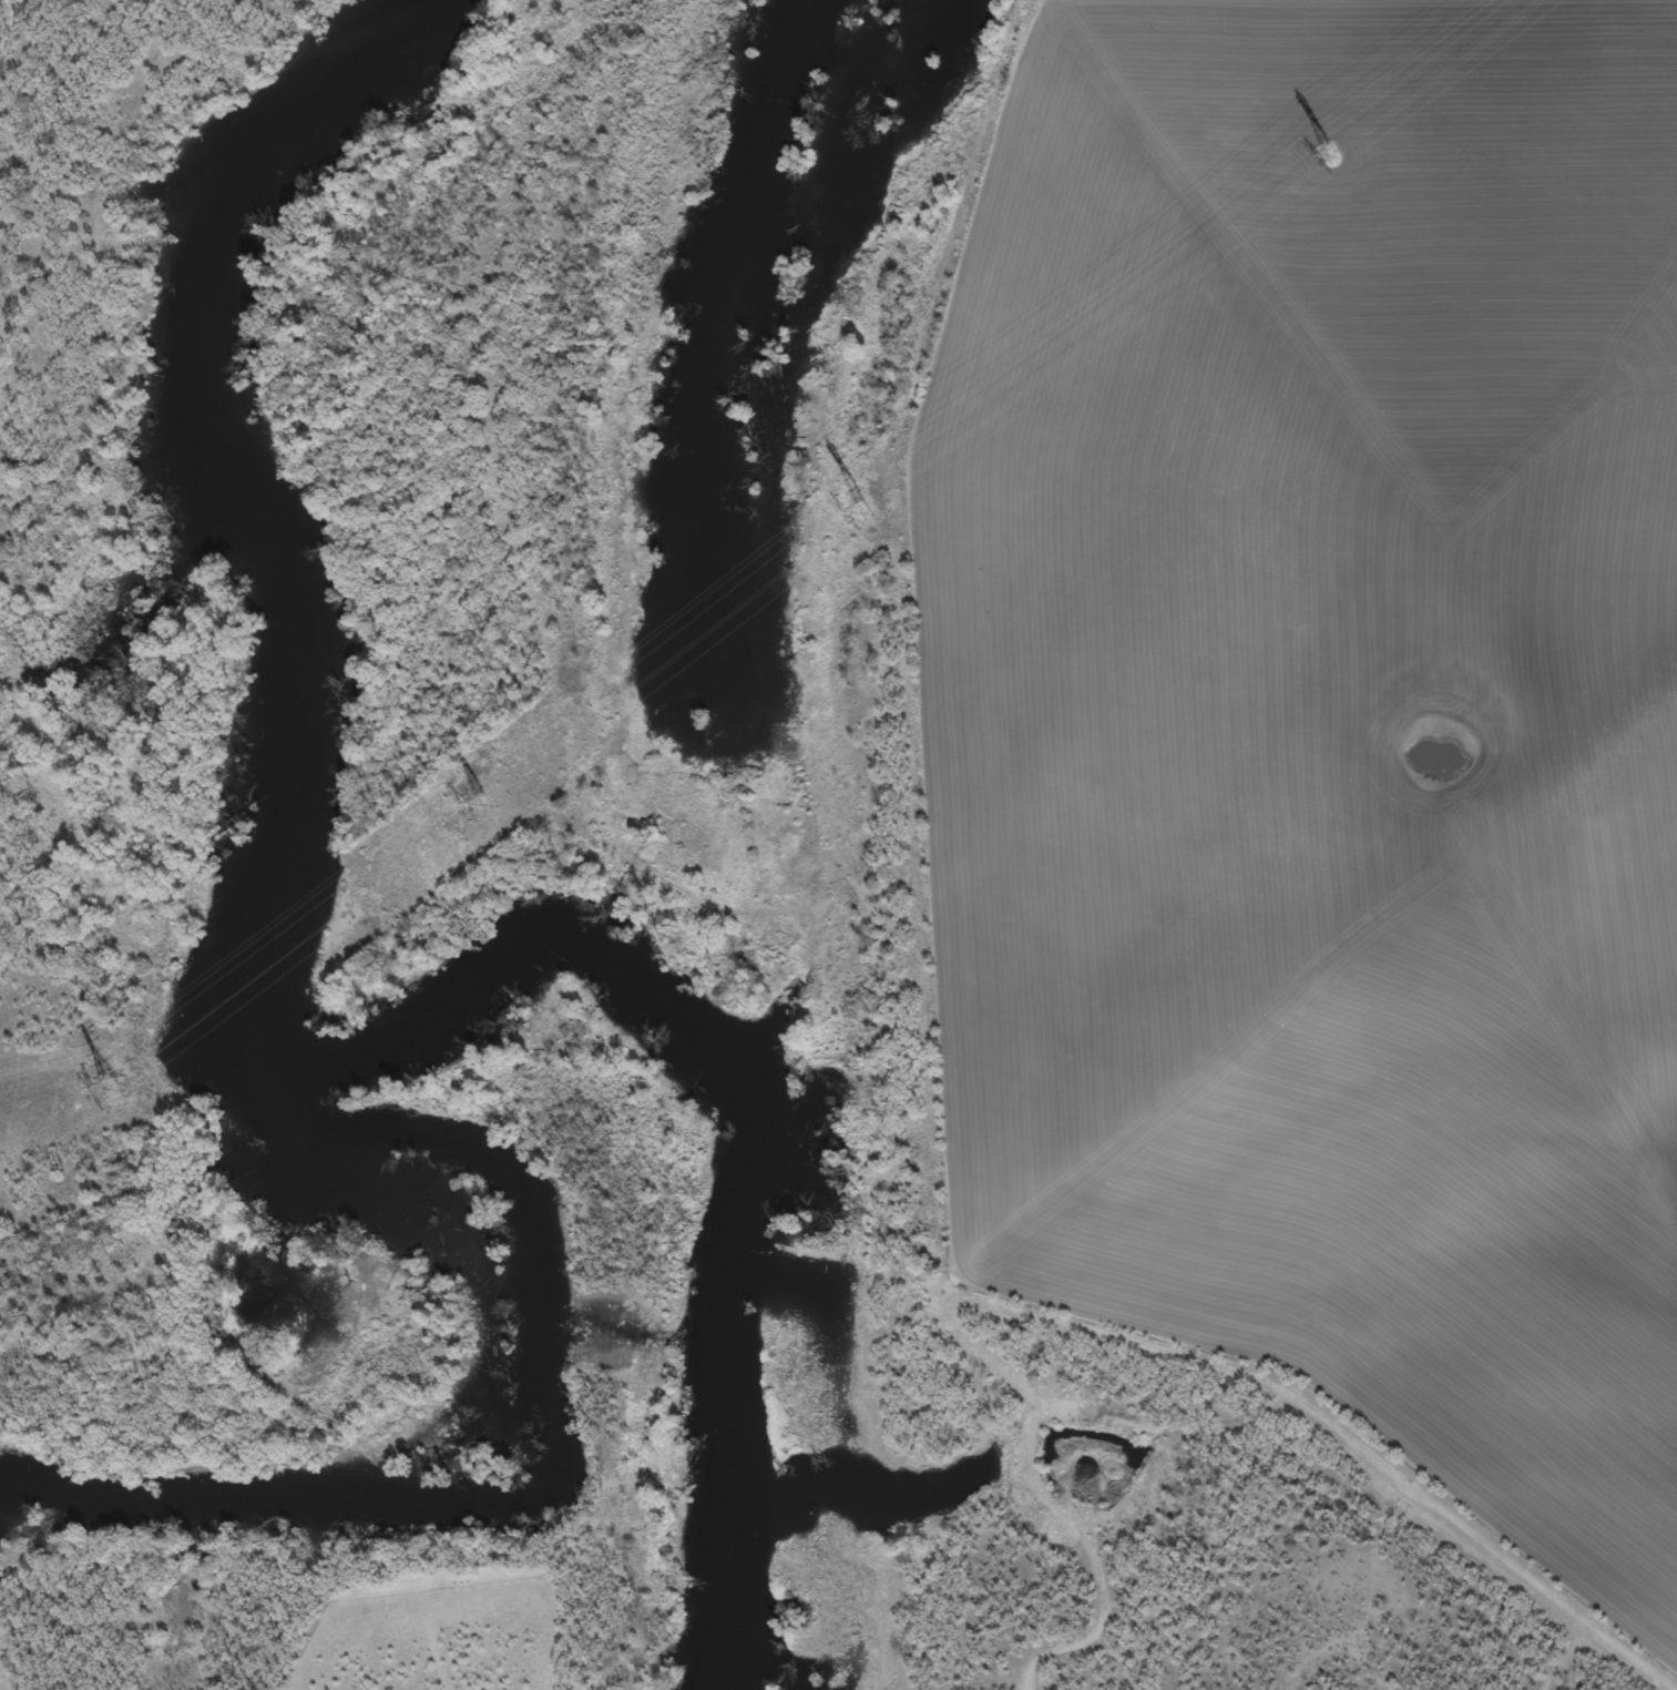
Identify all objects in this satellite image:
power tower: (1331, 150)
power tower: (868, 513)
power tower: (483, 800)
power tower: (110, 1088)

